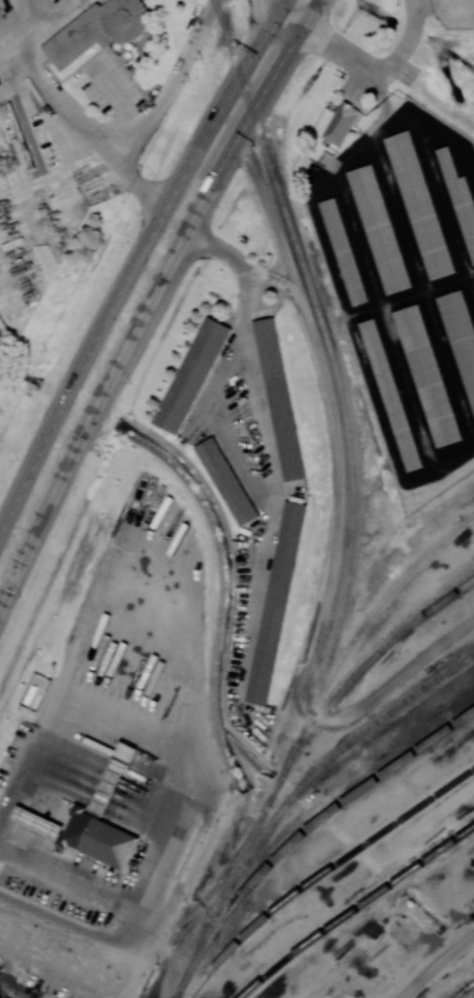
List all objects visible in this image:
railway: (218, 13)
building: (97, 31)
road: (366, 65)
road: (173, 86)
road: (69, 119)
building: (341, 124)
building: (460, 201)
building: (423, 206)
building: (383, 229)
building: (346, 253)
road: (136, 266)
road: (151, 297)
road: (250, 320)
building: (461, 336)
railway: (332, 359)
building: (192, 375)
building: (430, 380)
building: (395, 395)
building: (279, 399)
building: (227, 482)
building: (276, 603)
railway: (374, 608)
railway: (359, 669)
building: (128, 751)
railway: (333, 756)
railway: (288, 757)
road: (190, 779)
building: (107, 791)
railway: (267, 803)
building: (38, 822)
railway: (303, 832)
building: (98, 838)
railway: (243, 855)
railway: (322, 873)
railway: (220, 877)
railway: (354, 908)
road: (77, 928)
railway: (205, 935)
road: (143, 952)
railway: (473, 982)
railway: (464, 990)
railway: (465, 990)
railway: (337, 996)

